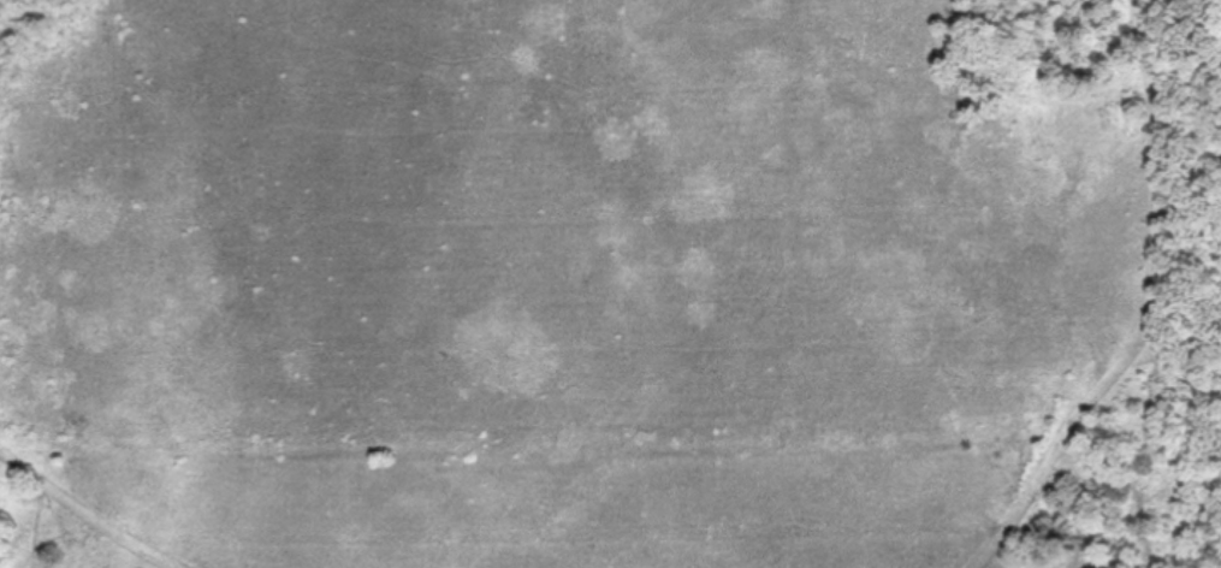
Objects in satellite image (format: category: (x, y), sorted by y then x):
park: (610, 284)
road: (1149, 307)
road: (95, 507)

